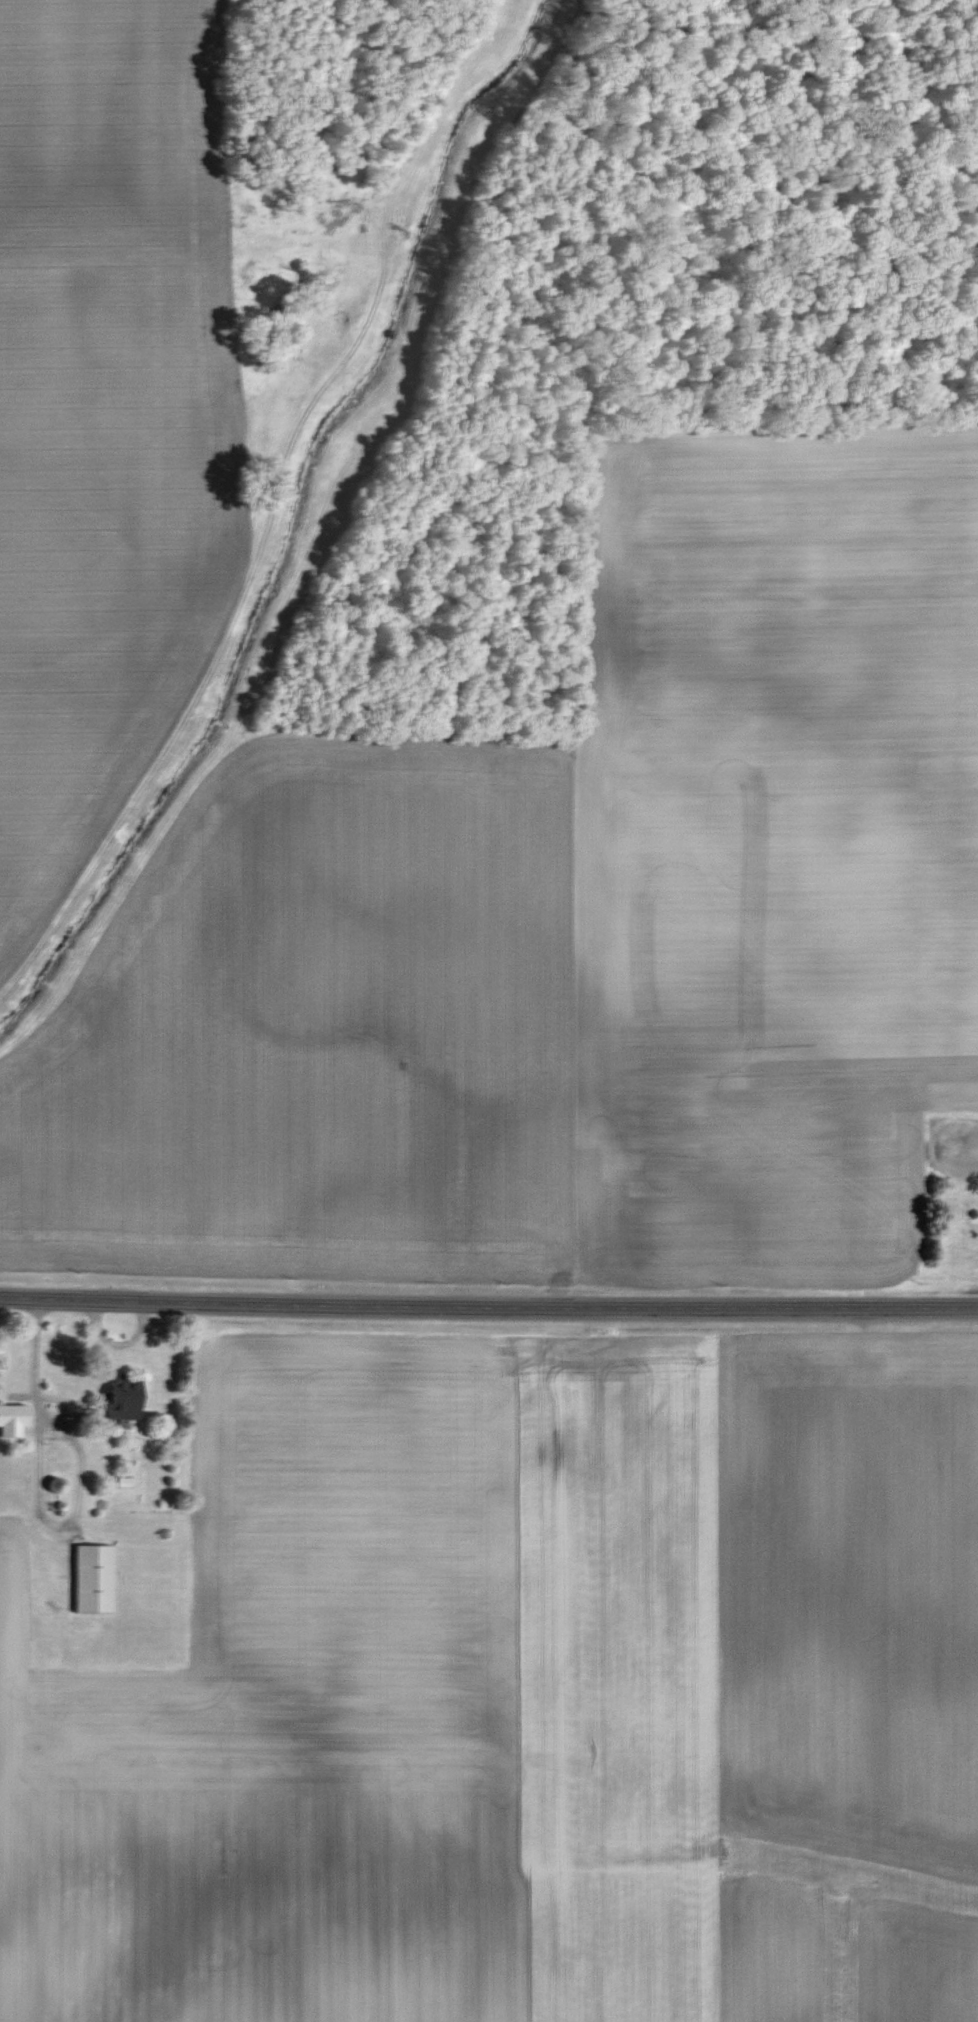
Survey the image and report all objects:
road: (488, 1309)
building: (122, 1398)
road: (57, 1417)
building: (13, 1421)
building: (93, 1578)

